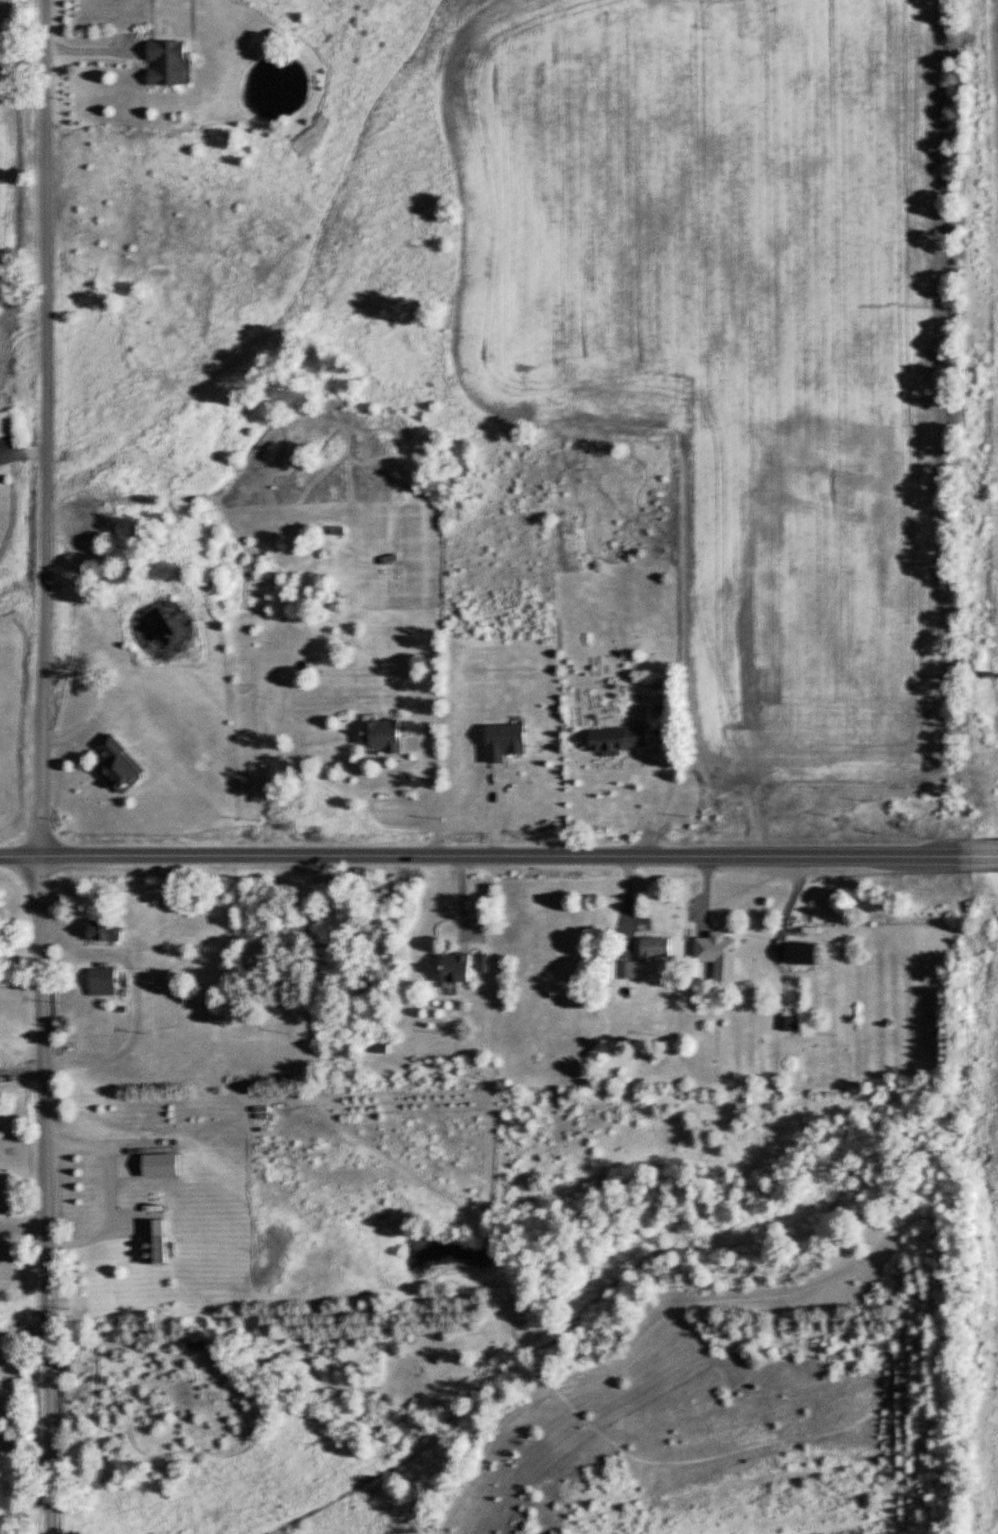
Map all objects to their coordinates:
building: (169, 61)
road: (19, 450)
crop: (18, 728)
building: (383, 736)
building: (620, 739)
building: (505, 741)
building: (123, 766)
road: (37, 767)
road: (430, 796)
road: (666, 797)
road: (18, 856)
road: (505, 856)
road: (986, 856)
building: (105, 929)
building: (655, 949)
building: (804, 953)
building: (718, 956)
building: (484, 962)
building: (458, 967)
building: (626, 969)
building: (103, 981)
road: (136, 995)
building: (787, 1023)
road: (117, 1192)
building: (155, 1238)
road: (23, 1328)

